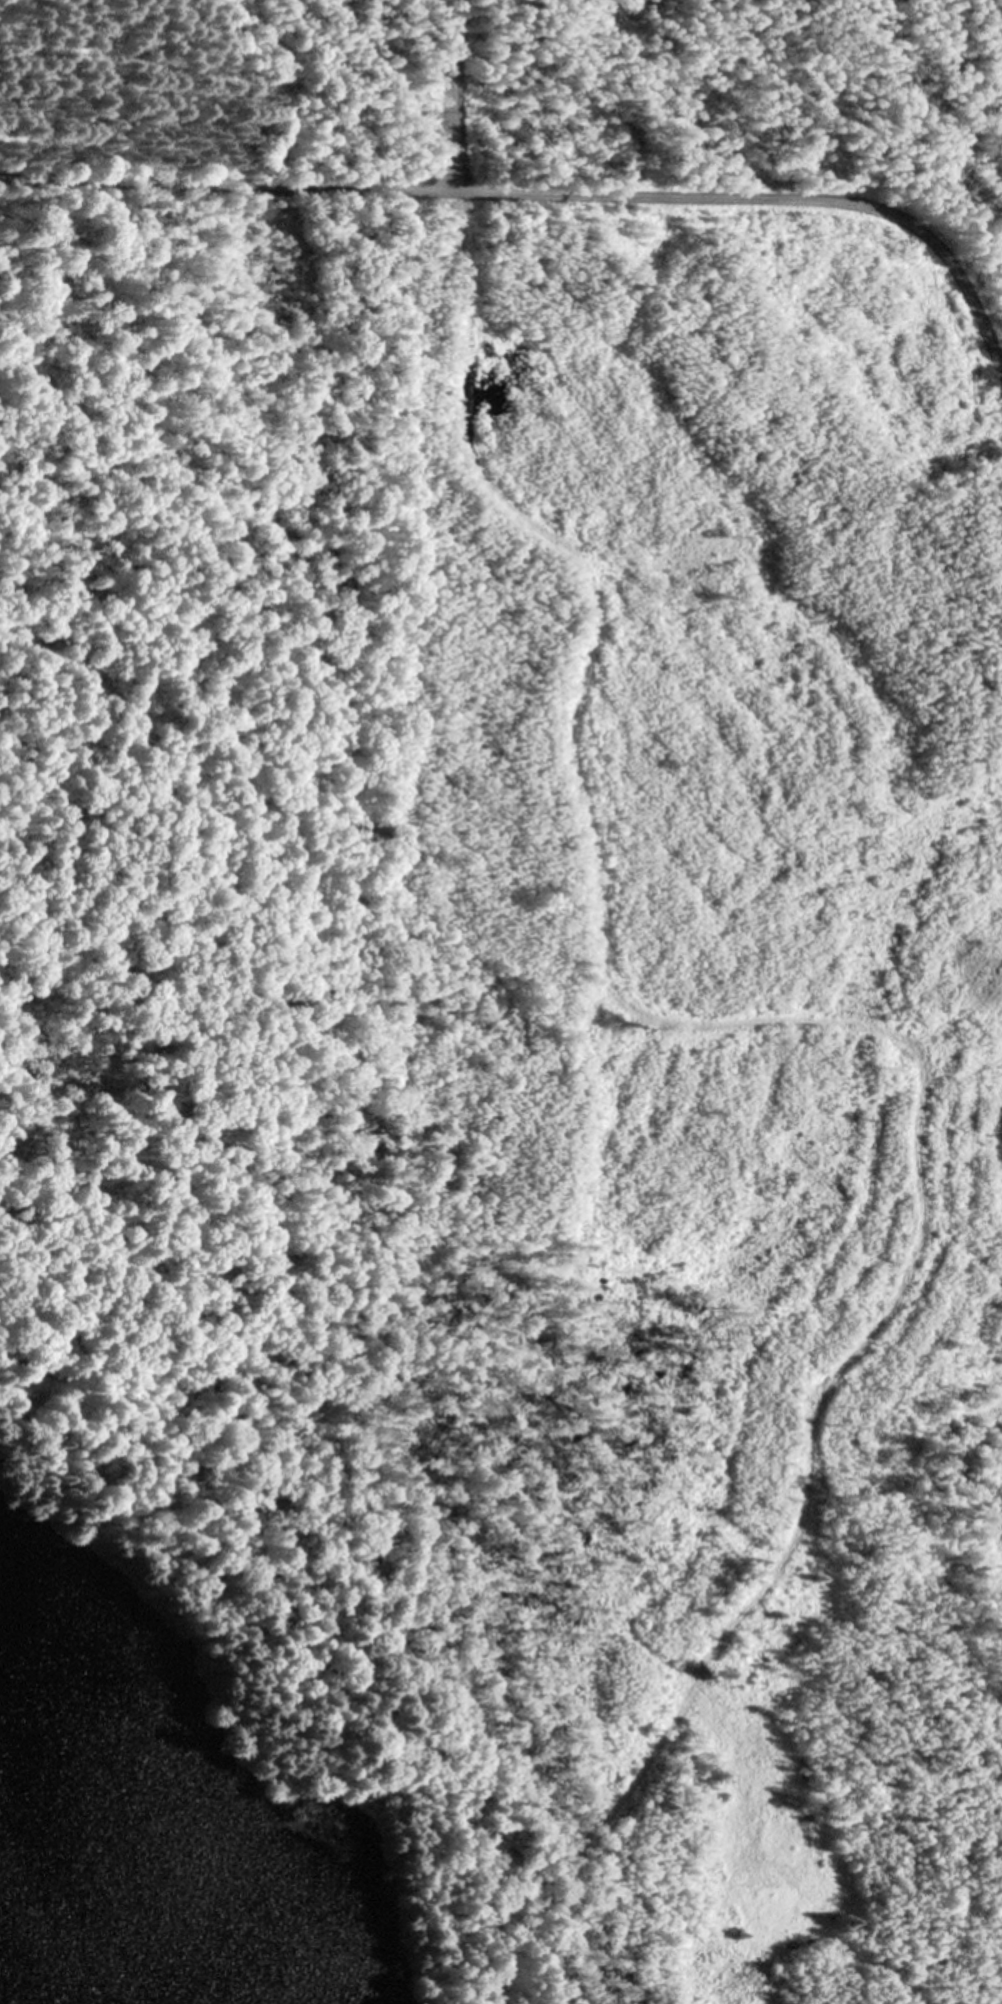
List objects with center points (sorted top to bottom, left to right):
road: (451, 95)
road: (546, 192)

